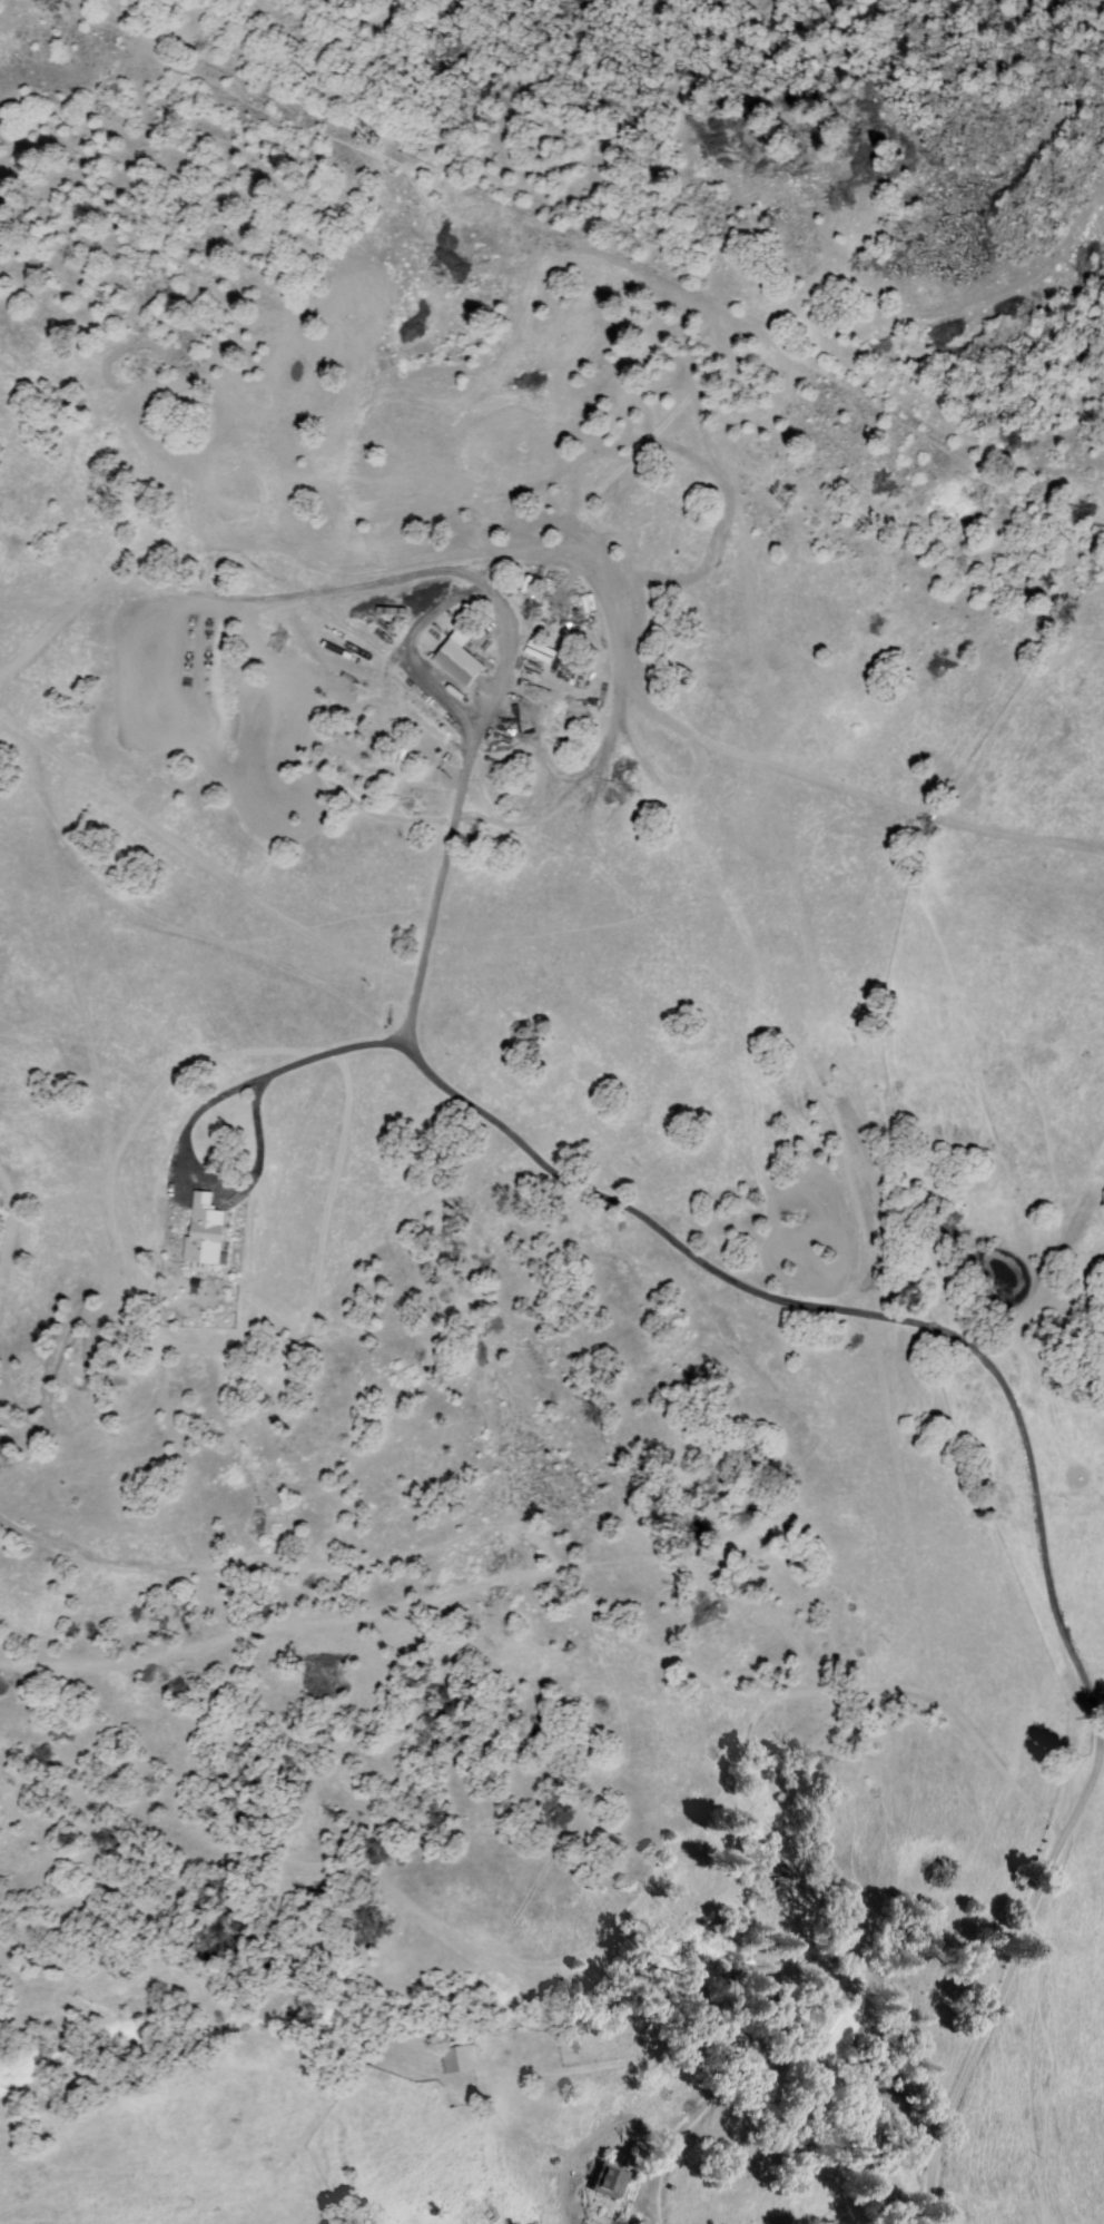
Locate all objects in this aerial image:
building: (460, 660)
building: (510, 859)
road: (618, 1198)
building: (206, 1234)
road: (1098, 1711)
road: (1008, 1967)
building: (460, 2056)
building: (610, 2181)

